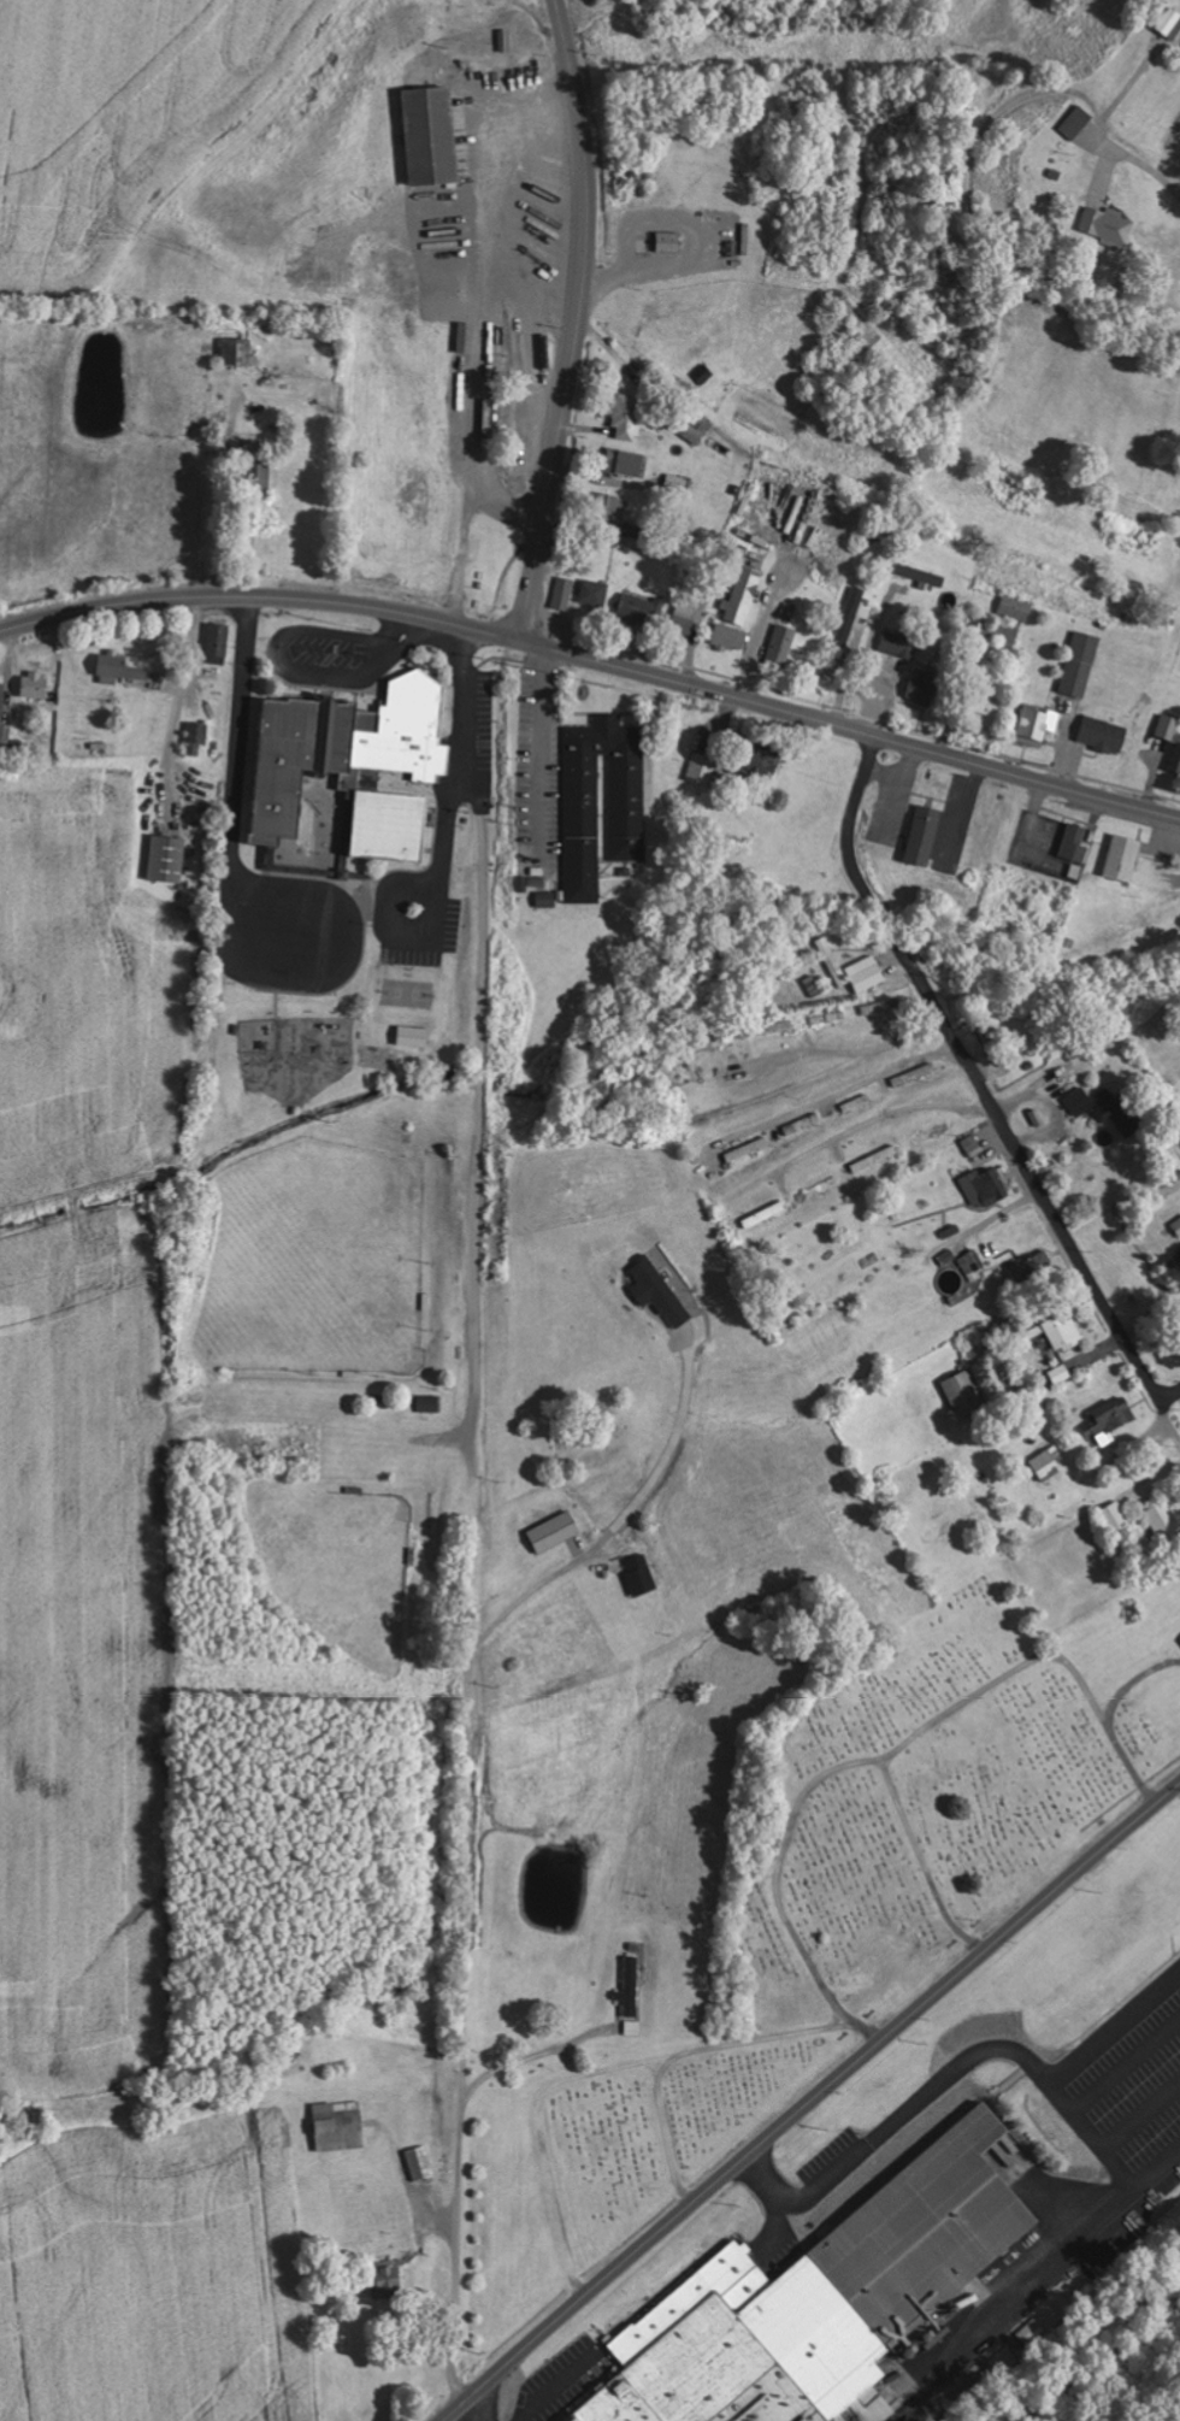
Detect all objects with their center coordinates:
building: (1168, 23)
building: (507, 41)
building: (1075, 123)
building: (431, 134)
building: (1108, 224)
building: (671, 241)
road: (577, 322)
building: (467, 337)
building: (238, 351)
building: (627, 416)
building: (626, 461)
building: (677, 482)
building: (609, 506)
road: (65, 530)
building: (632, 530)
building: (922, 576)
building: (562, 593)
building: (594, 593)
building: (743, 595)
road: (259, 597)
building: (639, 607)
building: (1017, 607)
building: (854, 615)
building: (684, 618)
building: (732, 637)
building: (219, 638)
building: (898, 644)
building: (783, 646)
building: (1081, 664)
building: (119, 668)
building: (36, 684)
building: (924, 688)
building: (2, 702)
building: (987, 709)
building: (1037, 725)
road: (848, 730)
building: (1104, 735)
building: (197, 736)
building: (1170, 736)
building: (762, 758)
building: (358, 764)
building: (703, 768)
building: (627, 807)
road: (1027, 819)
building: (925, 835)
building: (1068, 843)
building: (169, 858)
building: (1125, 858)
building: (831, 961)
building: (866, 973)
building: (886, 1006)
building: (415, 1036)
building: (993, 1045)
road: (825, 1073)
road: (974, 1074)
road: (839, 1094)
building: (1079, 1101)
building: (1122, 1114)
road: (860, 1127)
building: (972, 1143)
building: (987, 1186)
building: (1168, 1186)
building: (1176, 1226)
building: (973, 1266)
building: (1036, 1267)
building: (659, 1291)
building: (1061, 1332)
building: (1060, 1374)
road: (1169, 1390)
building: (964, 1394)
building: (430, 1403)
building: (1110, 1419)
road: (1135, 1436)
building: (1048, 1463)
building: (1116, 1519)
building: (1164, 1520)
building: (556, 1532)
park: (845, 1887)
building: (632, 1986)
building: (633, 2027)
road: (852, 2067)
building: (341, 2125)
building: (421, 2162)
building: (388, 2274)
building: (822, 2302)
building: (1029, 2331)
road: (485, 2385)
road: (473, 2409)

